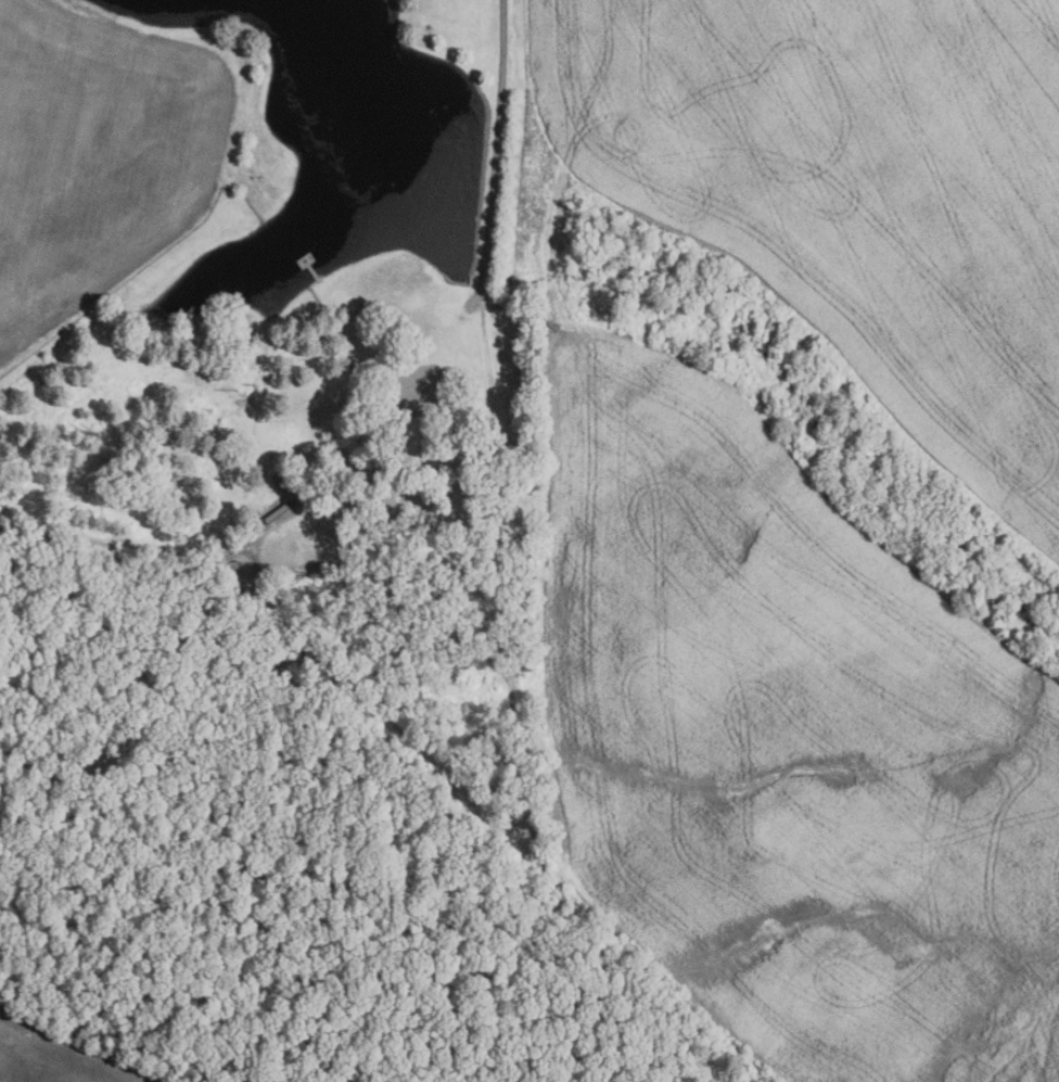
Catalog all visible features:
road: (496, 161)

